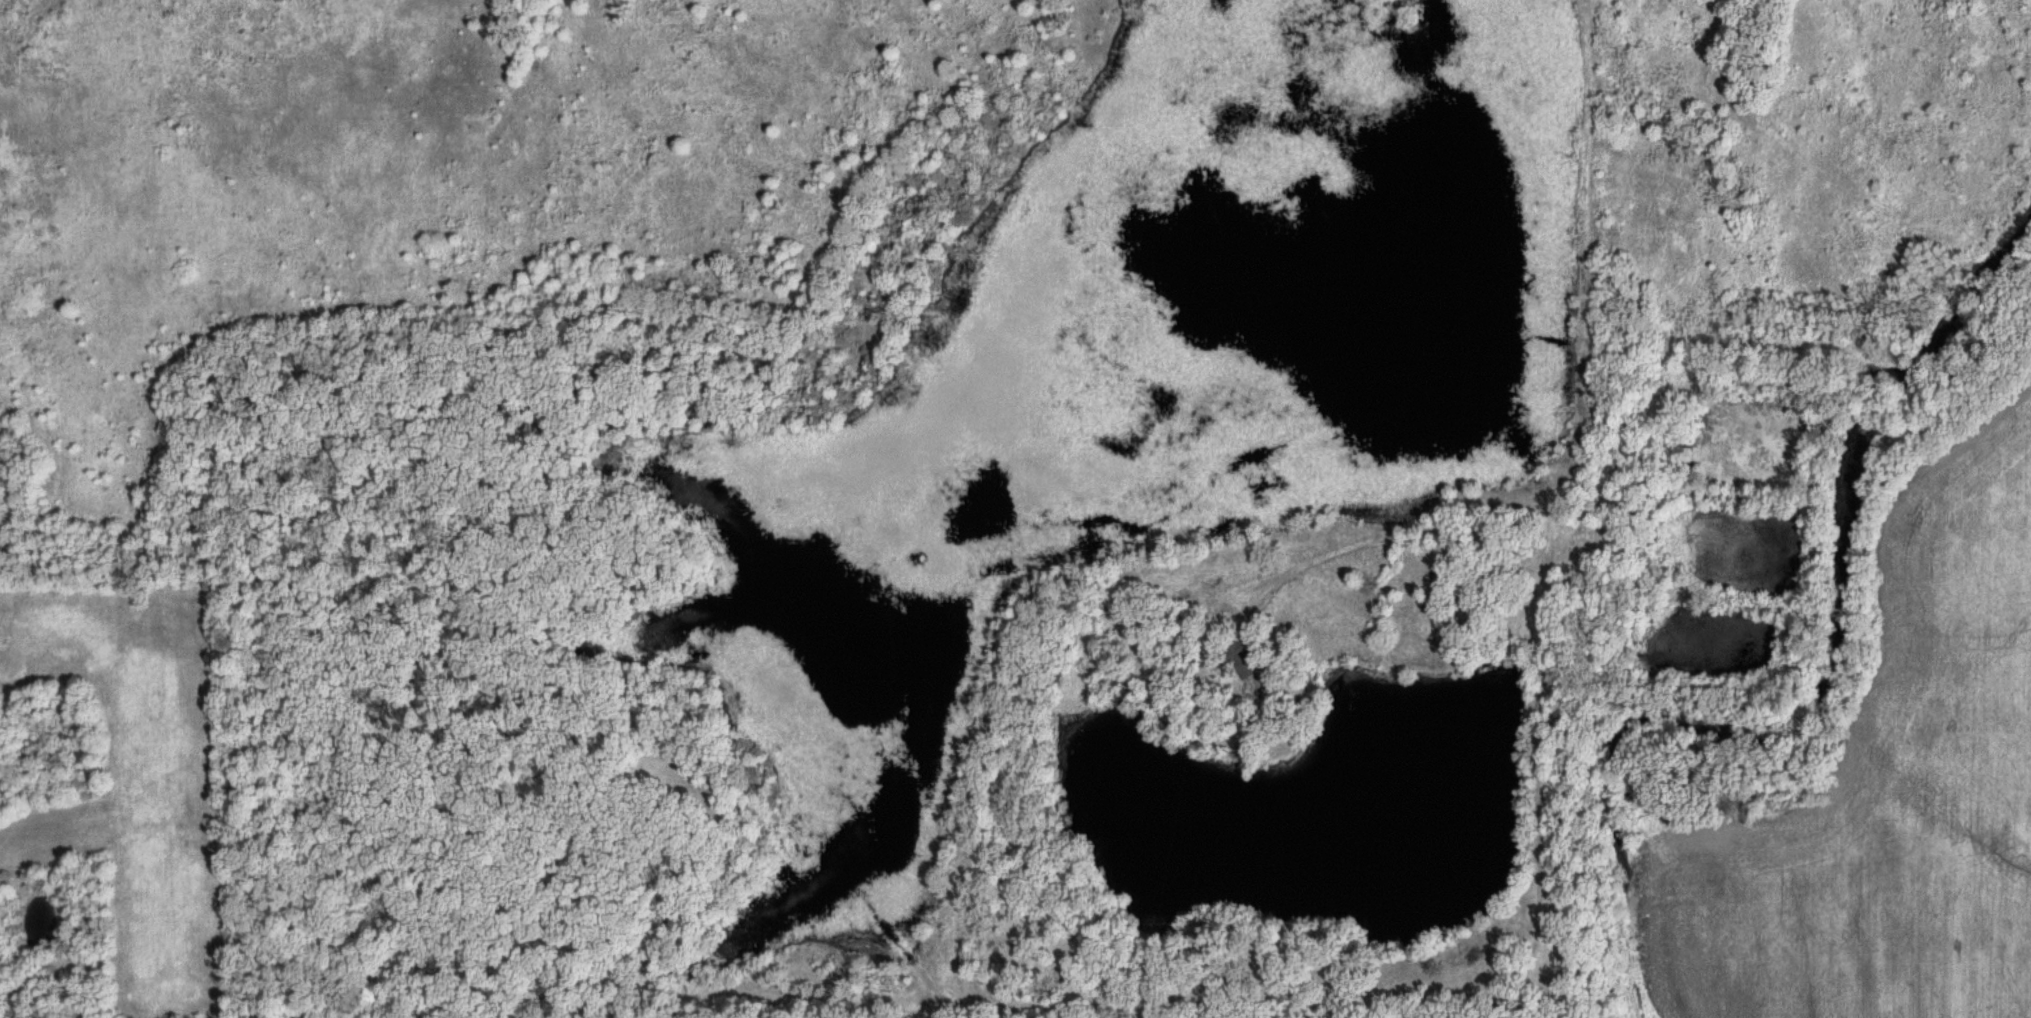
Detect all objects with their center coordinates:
road: (1880, 881)

